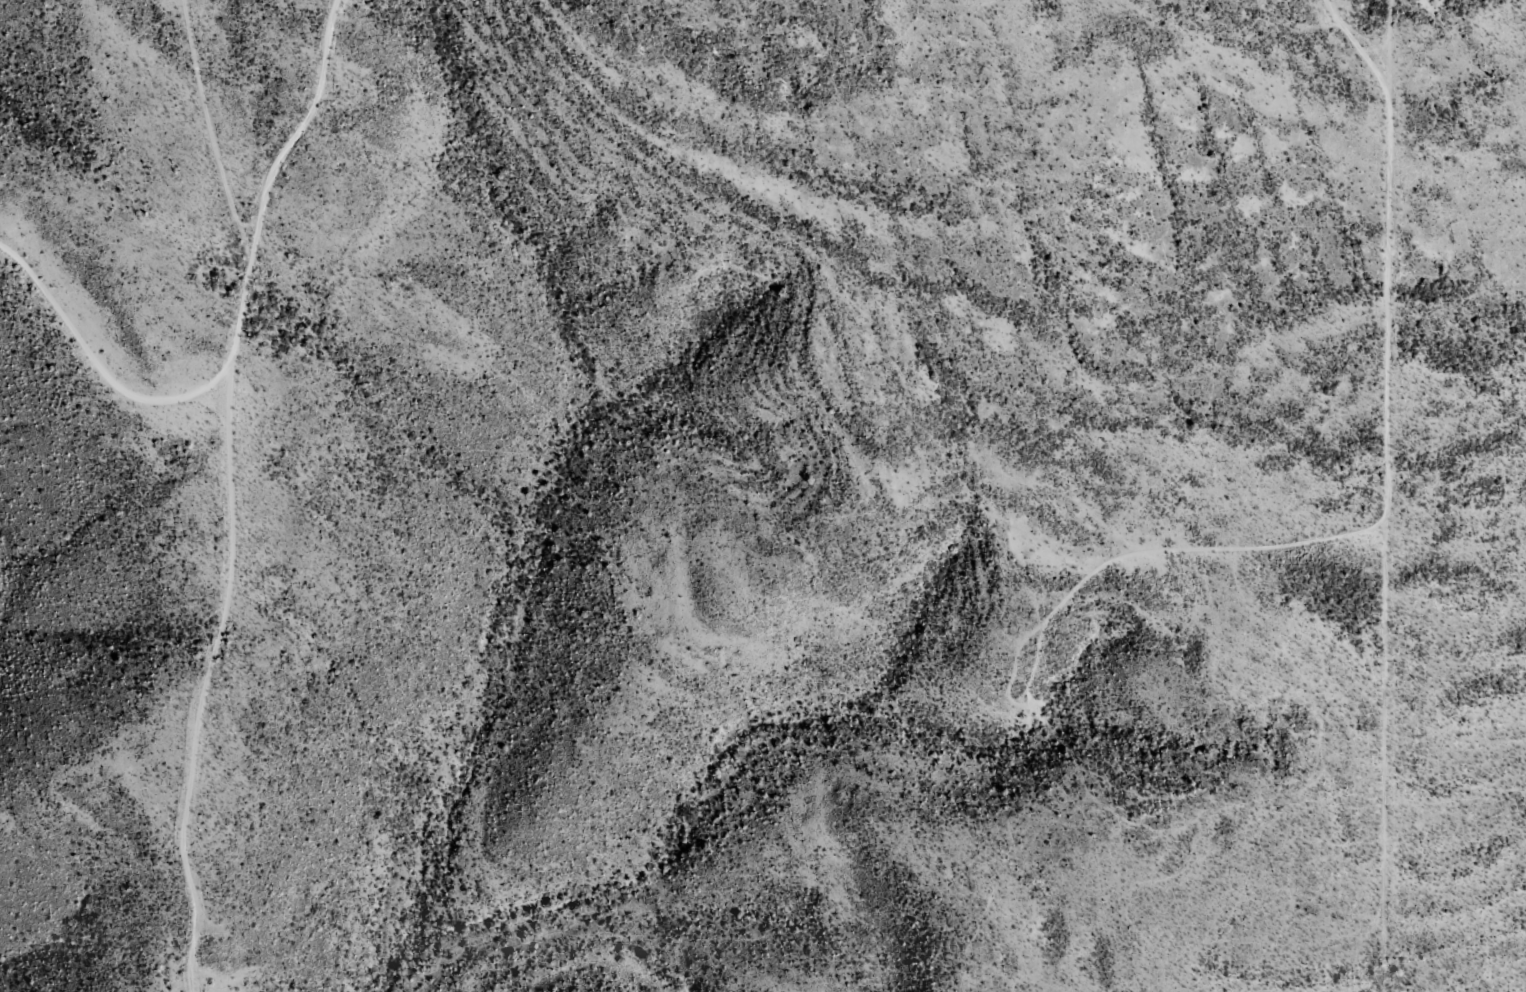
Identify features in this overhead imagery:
road: (325, 116)
road: (237, 495)

